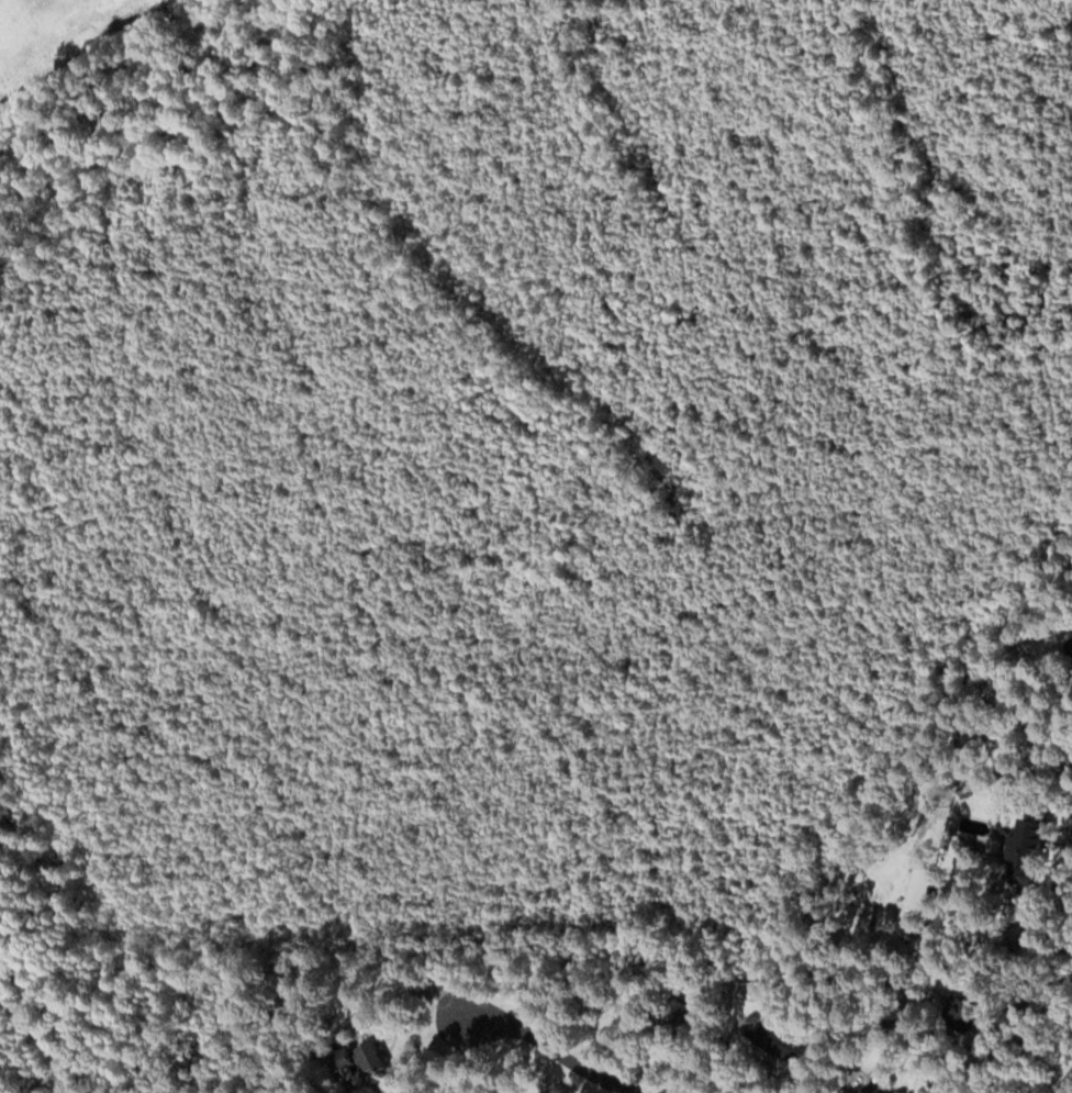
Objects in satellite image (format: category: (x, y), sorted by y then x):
building: (1040, 837)
building: (926, 889)
building: (782, 1040)
road: (540, 1044)
building: (368, 1058)
road: (1067, 1085)
building: (880, 1088)

